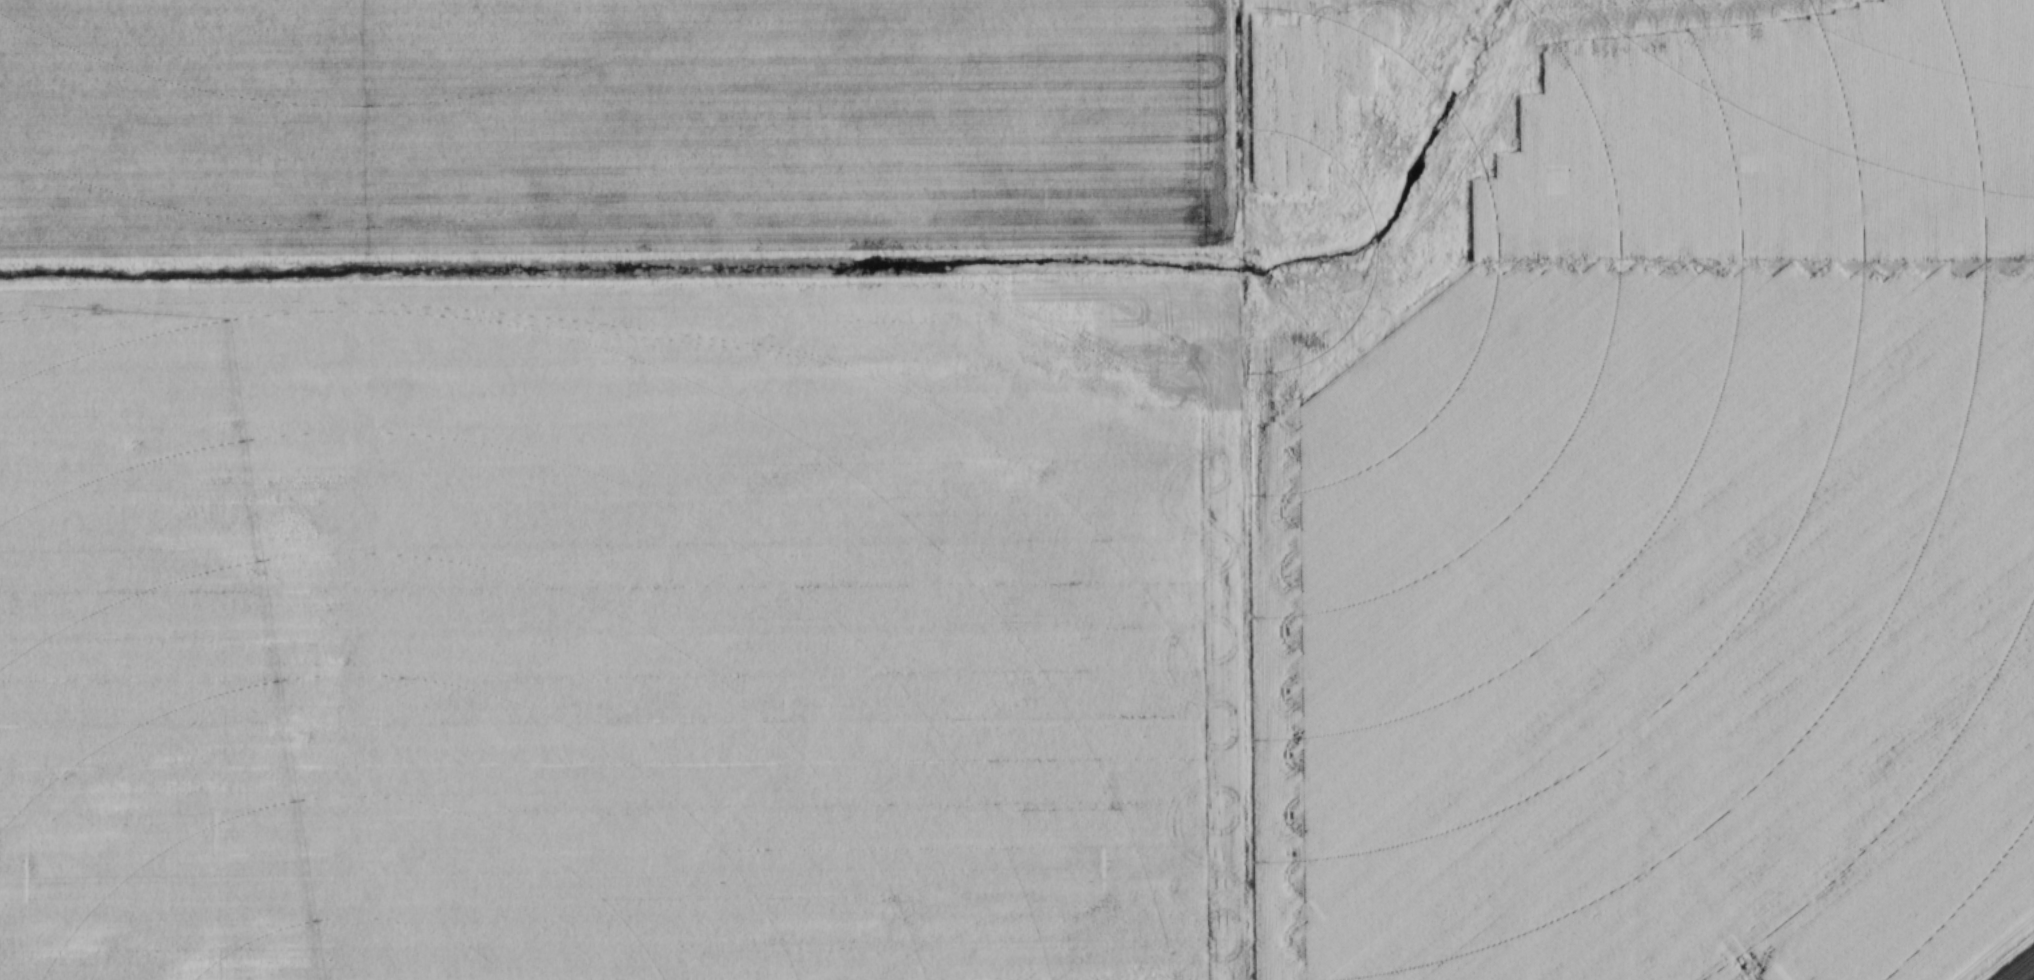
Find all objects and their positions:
railway: (2016, 965)
railway: (2024, 972)

